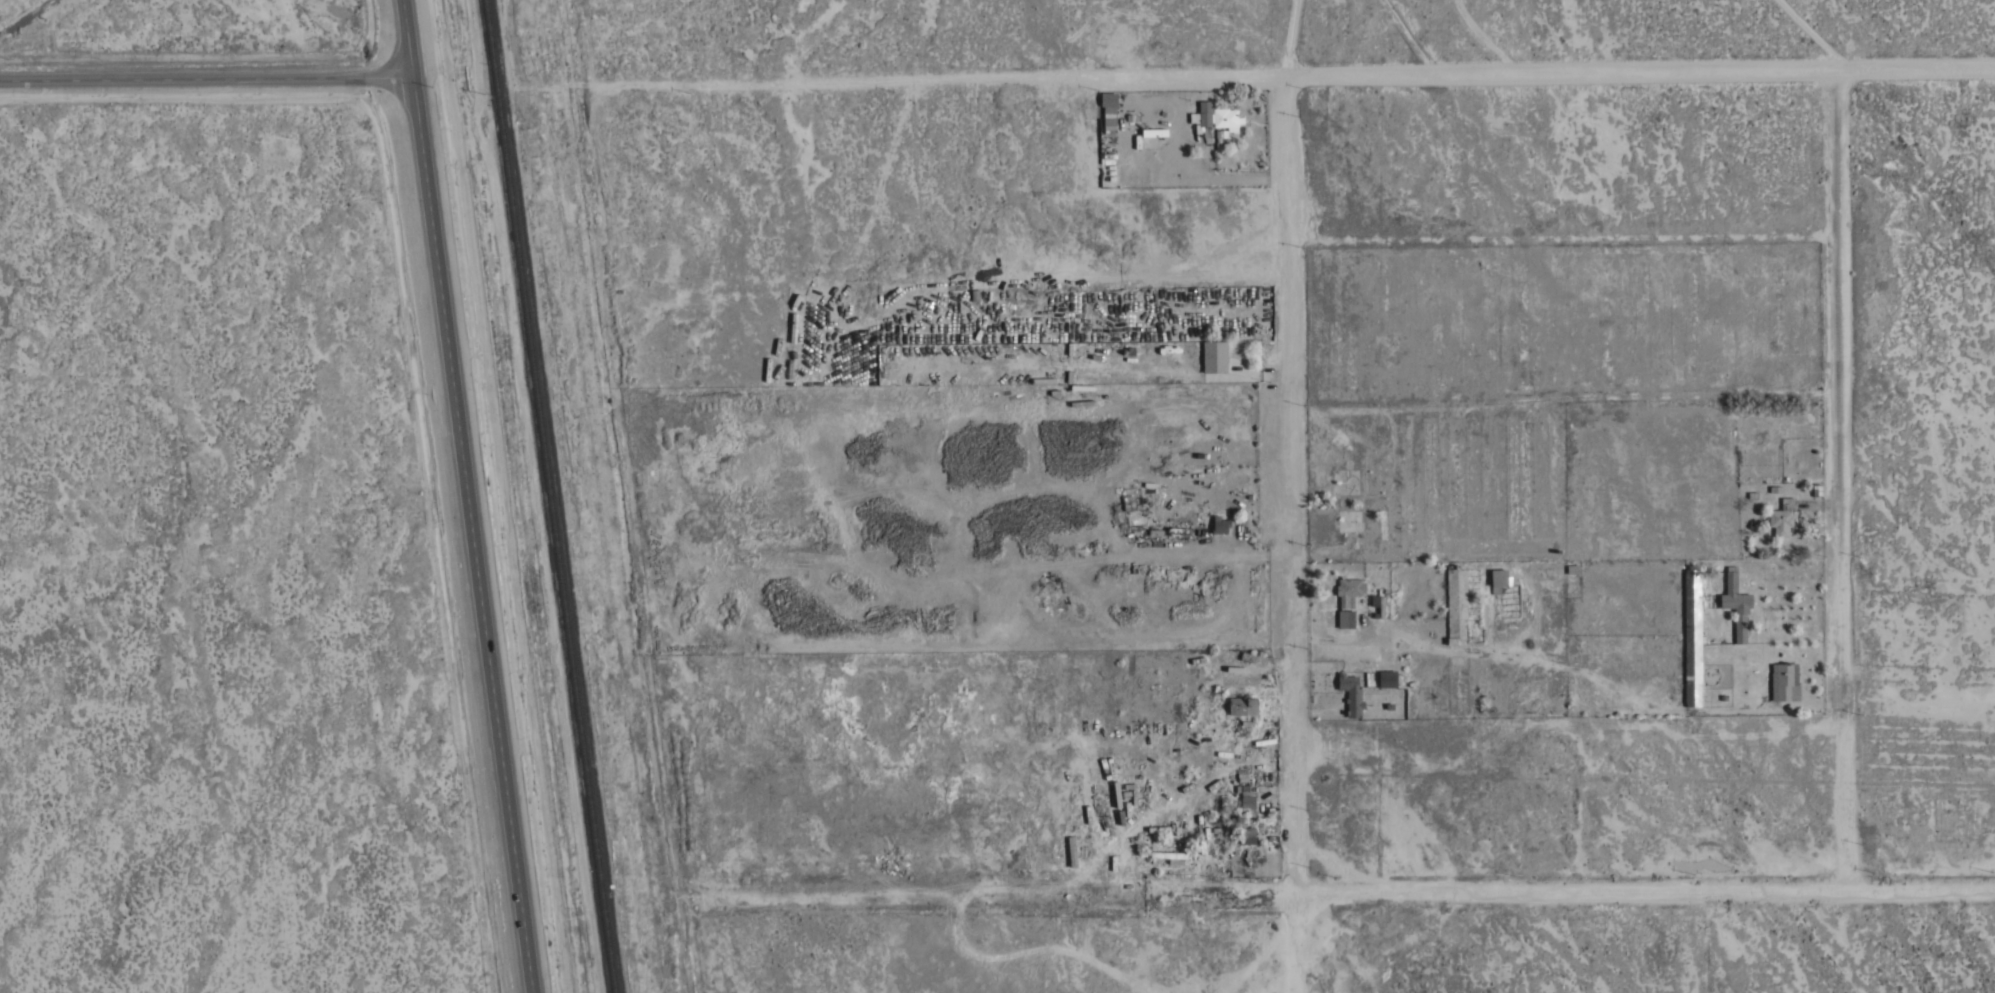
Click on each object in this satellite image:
road: (412, 39)
road: (578, 45)
road: (1289, 75)
road: (209, 80)
building: (1108, 109)
building: (1202, 115)
building: (1226, 118)
building: (1154, 131)
building: (1206, 133)
building: (1221, 135)
building: (1214, 356)
road: (1842, 480)
road: (1289, 484)
railway: (549, 496)
building: (1781, 517)
building: (1219, 524)
road: (477, 535)
road: (638, 542)
building: (1497, 586)
building: (1347, 599)
building: (1377, 605)
building: (1456, 605)
building: (1735, 605)
building: (1692, 637)
building: (1387, 678)
building: (1782, 679)
building: (1457, 684)
building: (1350, 693)
building: (1242, 705)
building: (1244, 798)
building: (1247, 834)
building: (1167, 856)
road: (1652, 890)
road: (995, 895)
road: (1295, 944)

